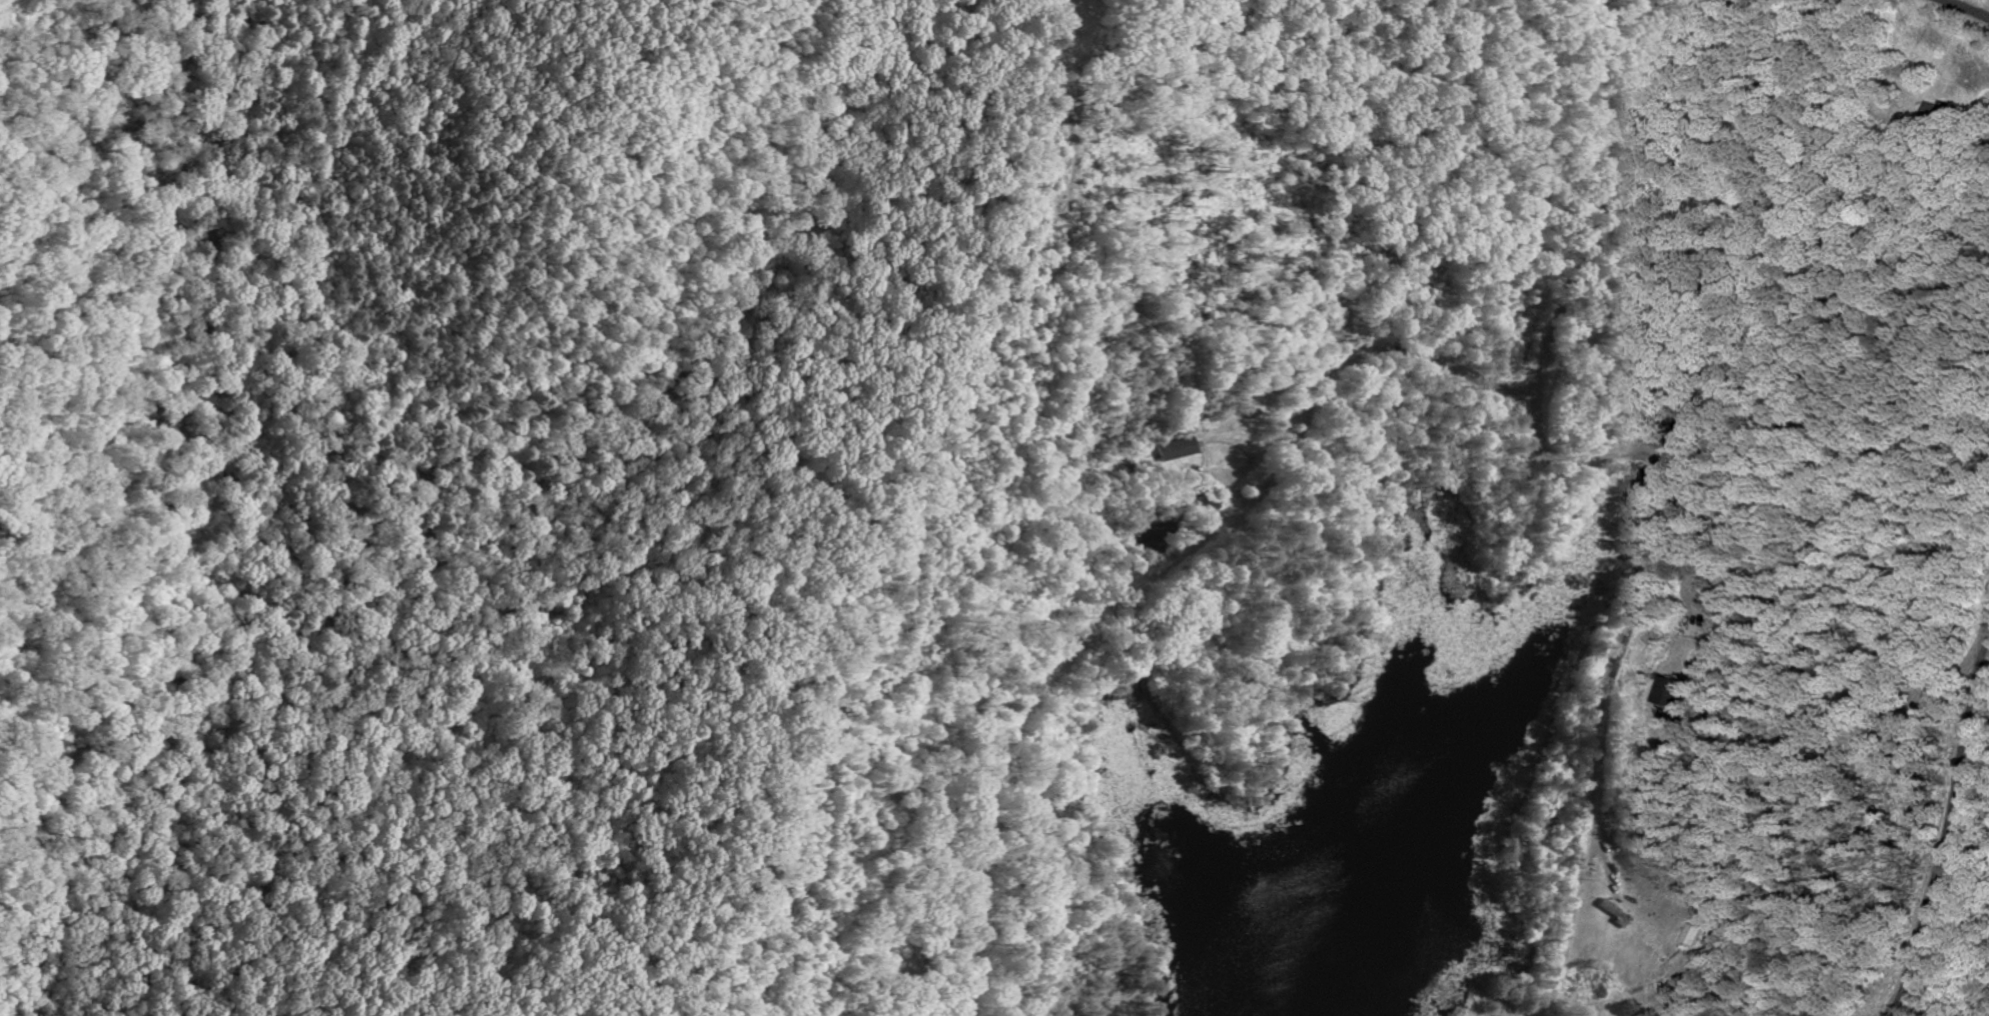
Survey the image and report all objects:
road: (1966, 8)
road: (1603, 200)
road: (1370, 351)
building: (1179, 450)
road: (1618, 638)
building: (1667, 693)
road: (1946, 833)

